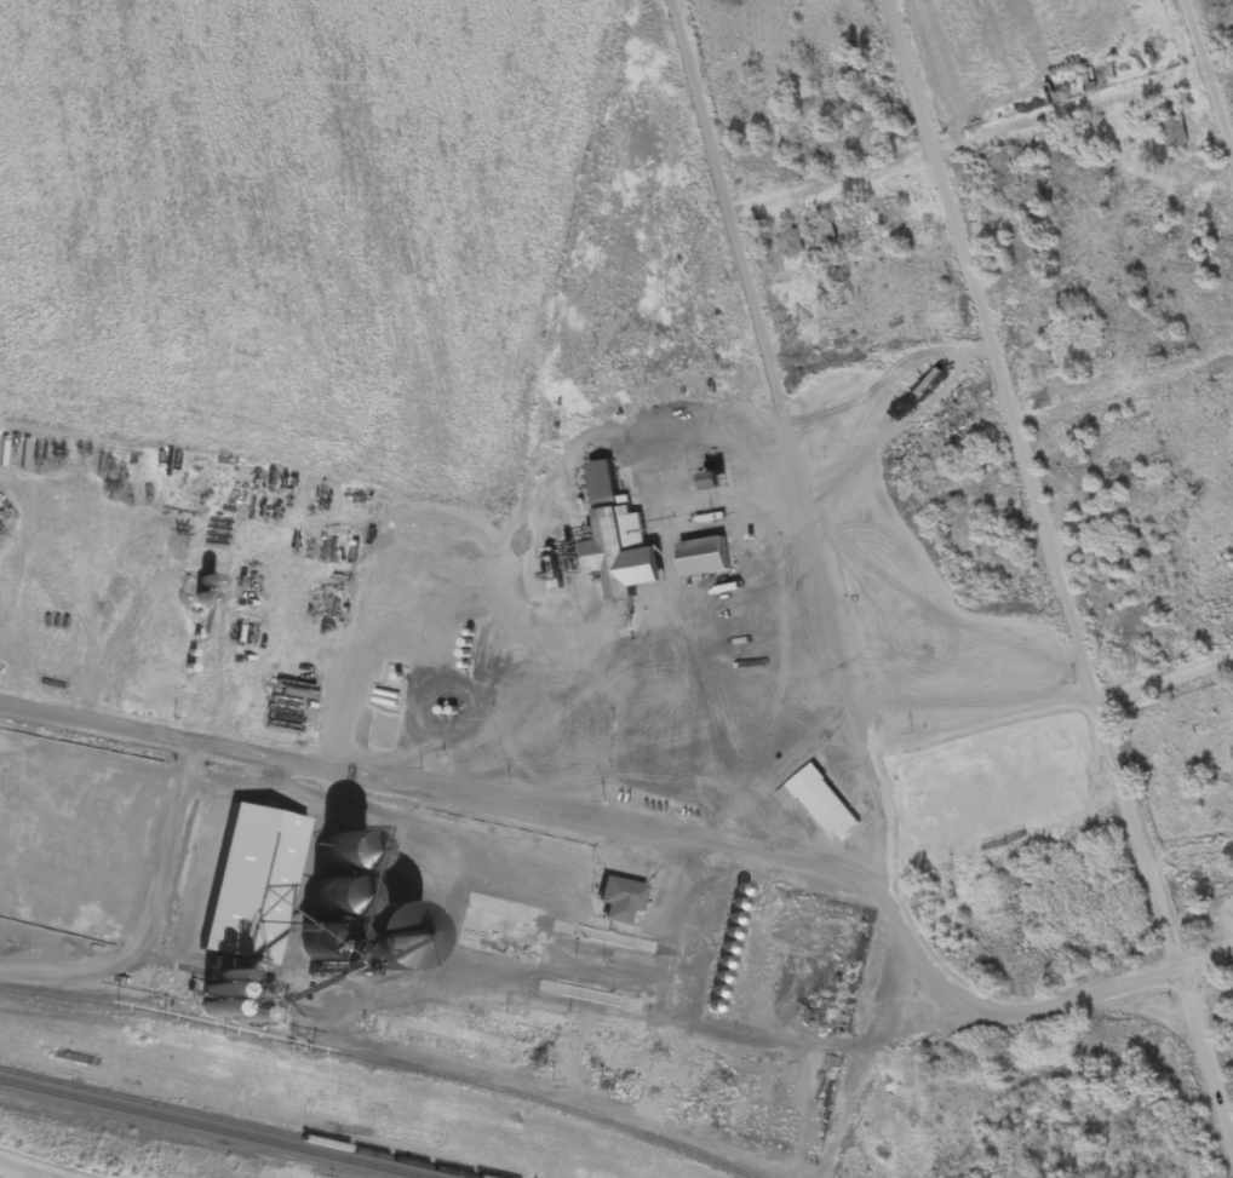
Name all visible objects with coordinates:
road: (1209, 76)
building: (1175, 133)
road: (981, 143)
building: (790, 242)
road: (1026, 424)
road: (802, 438)
building: (711, 484)
road: (1039, 488)
building: (616, 544)
building: (702, 559)
building: (203, 586)
road: (1071, 716)
road: (448, 794)
building: (824, 805)
building: (64, 864)
building: (1193, 883)
building: (250, 886)
building: (619, 901)
road: (142, 916)
building: (342, 919)
road: (1032, 1010)
road: (1209, 1056)
railway: (374, 1064)
building: (625, 1067)
railway: (229, 1125)
railway: (207, 1130)
road: (29, 1170)

